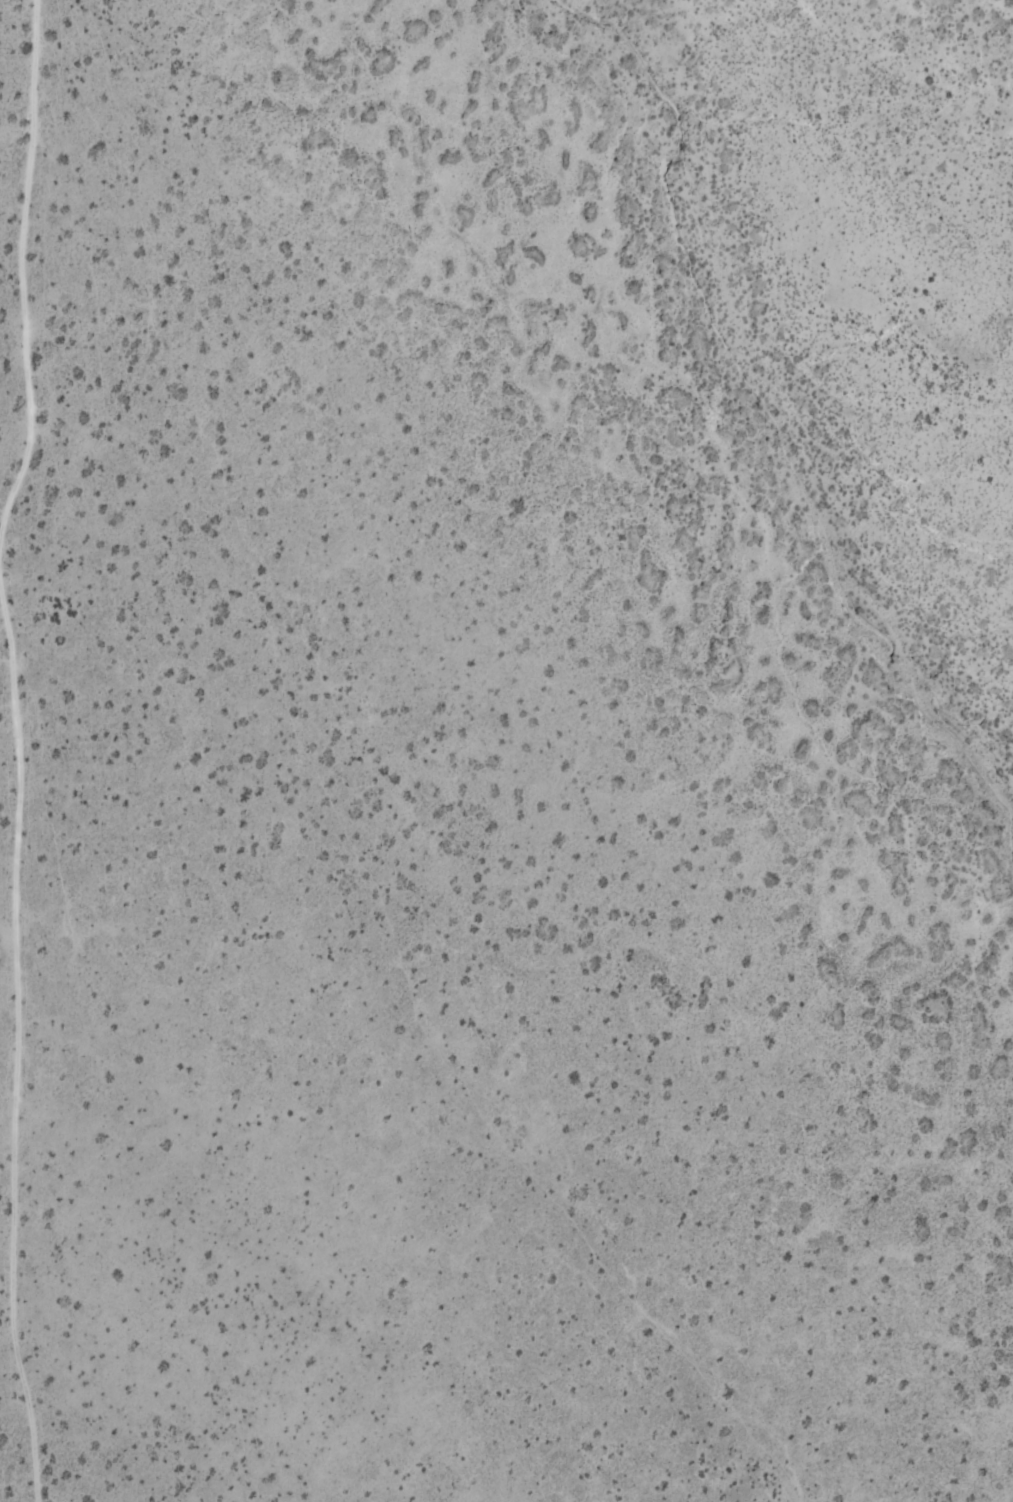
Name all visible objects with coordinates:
road: (21, 753)

